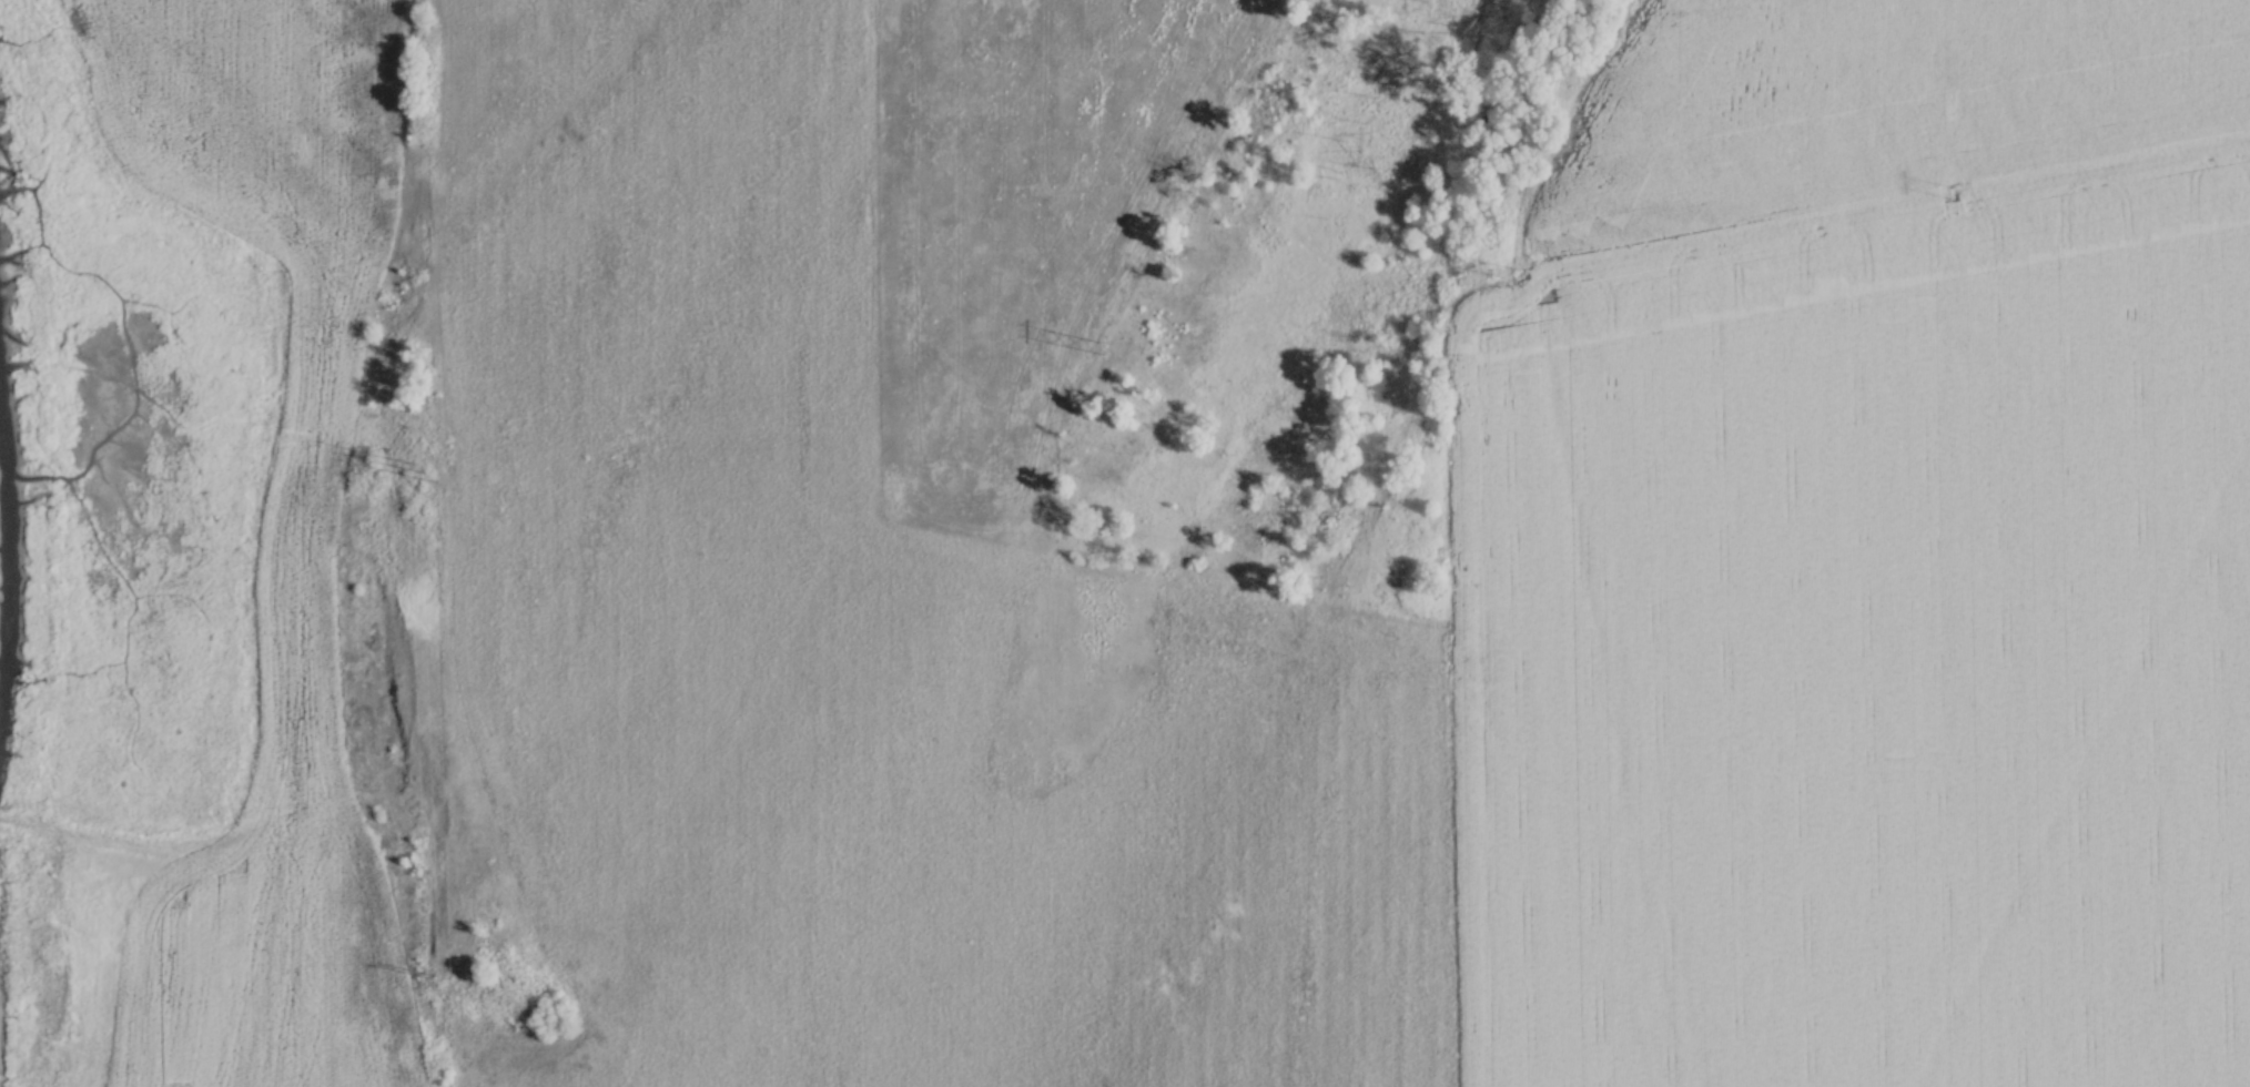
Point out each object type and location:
power tower: (1966, 190)
power tower: (1528, 270)
power tower: (1122, 344)
power tower: (438, 468)
power tower: (456, 979)

